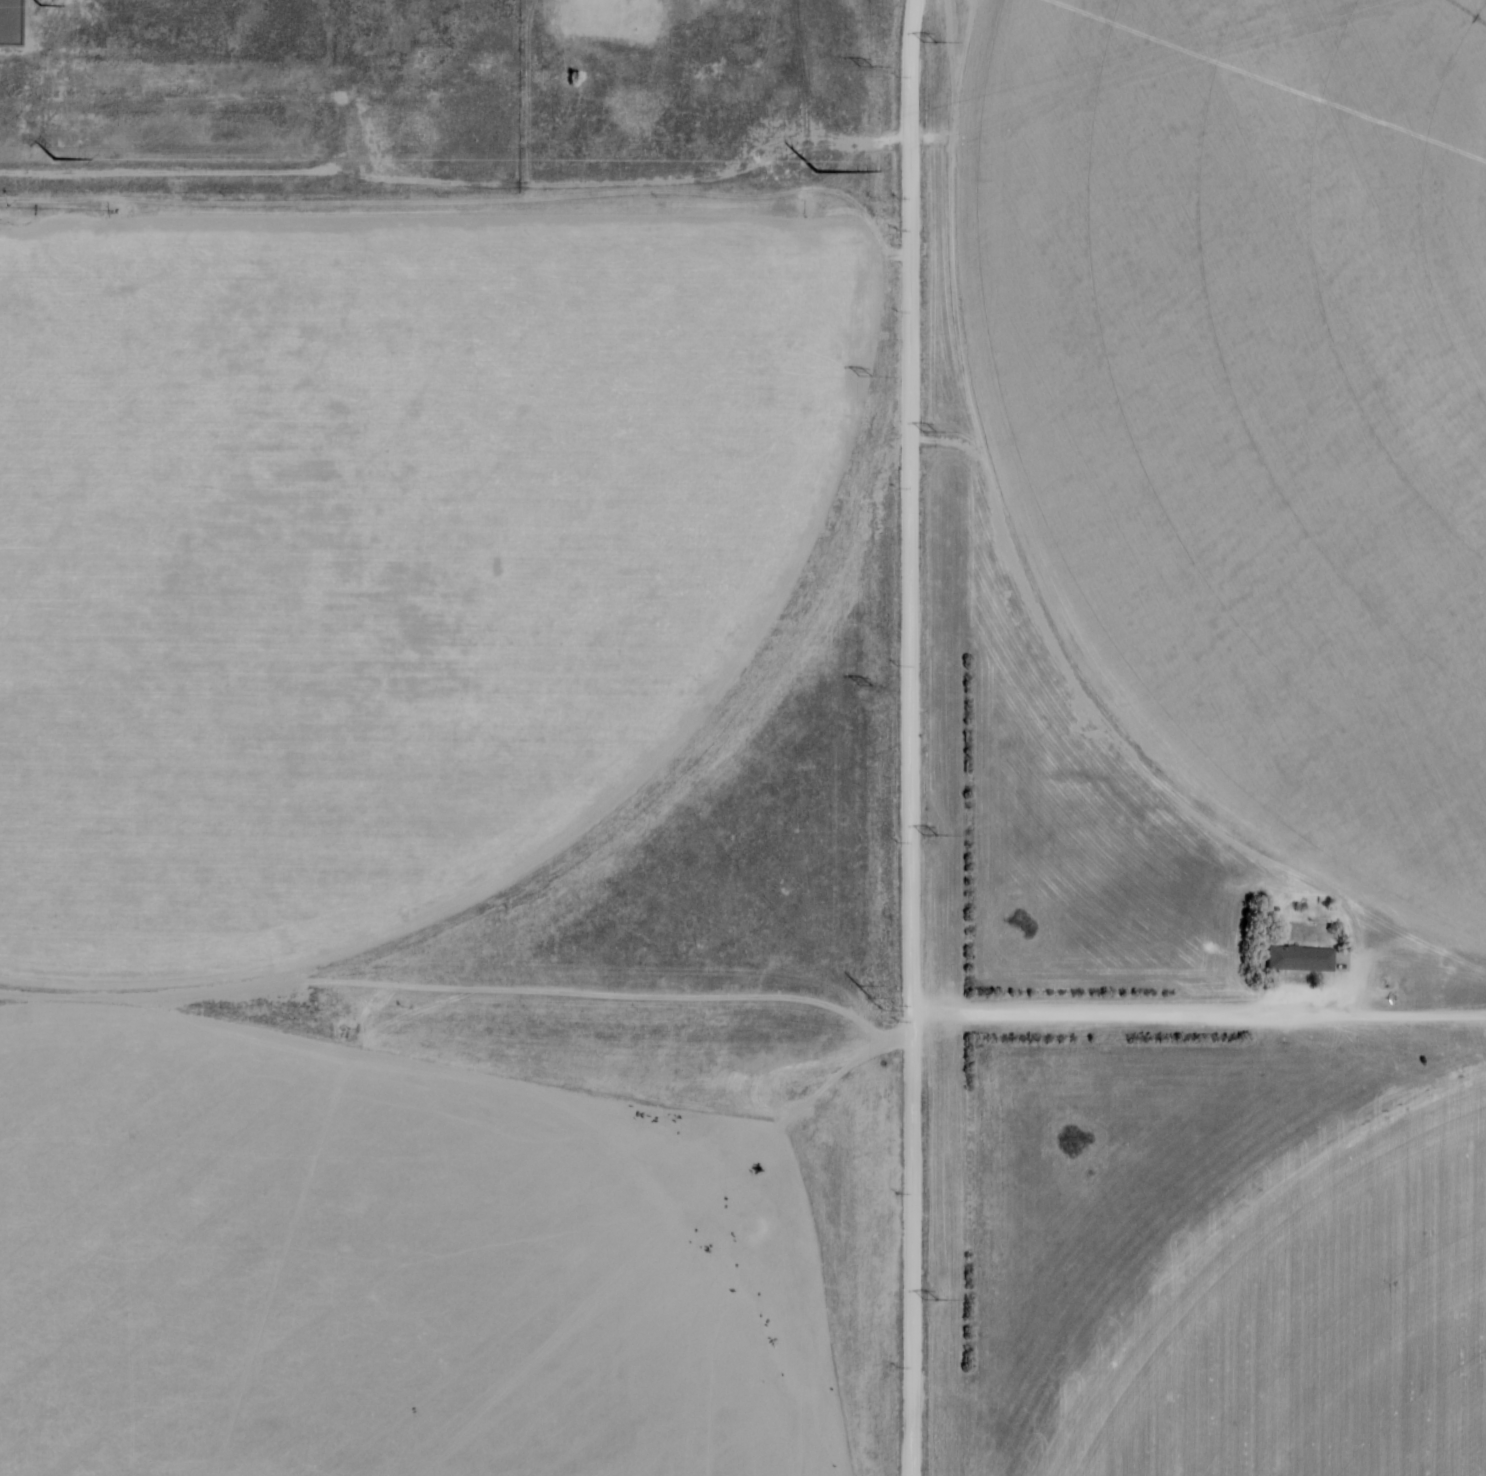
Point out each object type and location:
power substation: (11, 20)
power tower: (930, 43)
power tower: (865, 66)
power tower: (53, 164)
power tower: (818, 172)
power tower: (866, 377)
power tower: (930, 432)
power tower: (866, 684)
road: (912, 738)
power tower: (931, 835)
building: (1299, 959)
power tower: (871, 993)
road: (1205, 1017)
power tower: (930, 1298)

